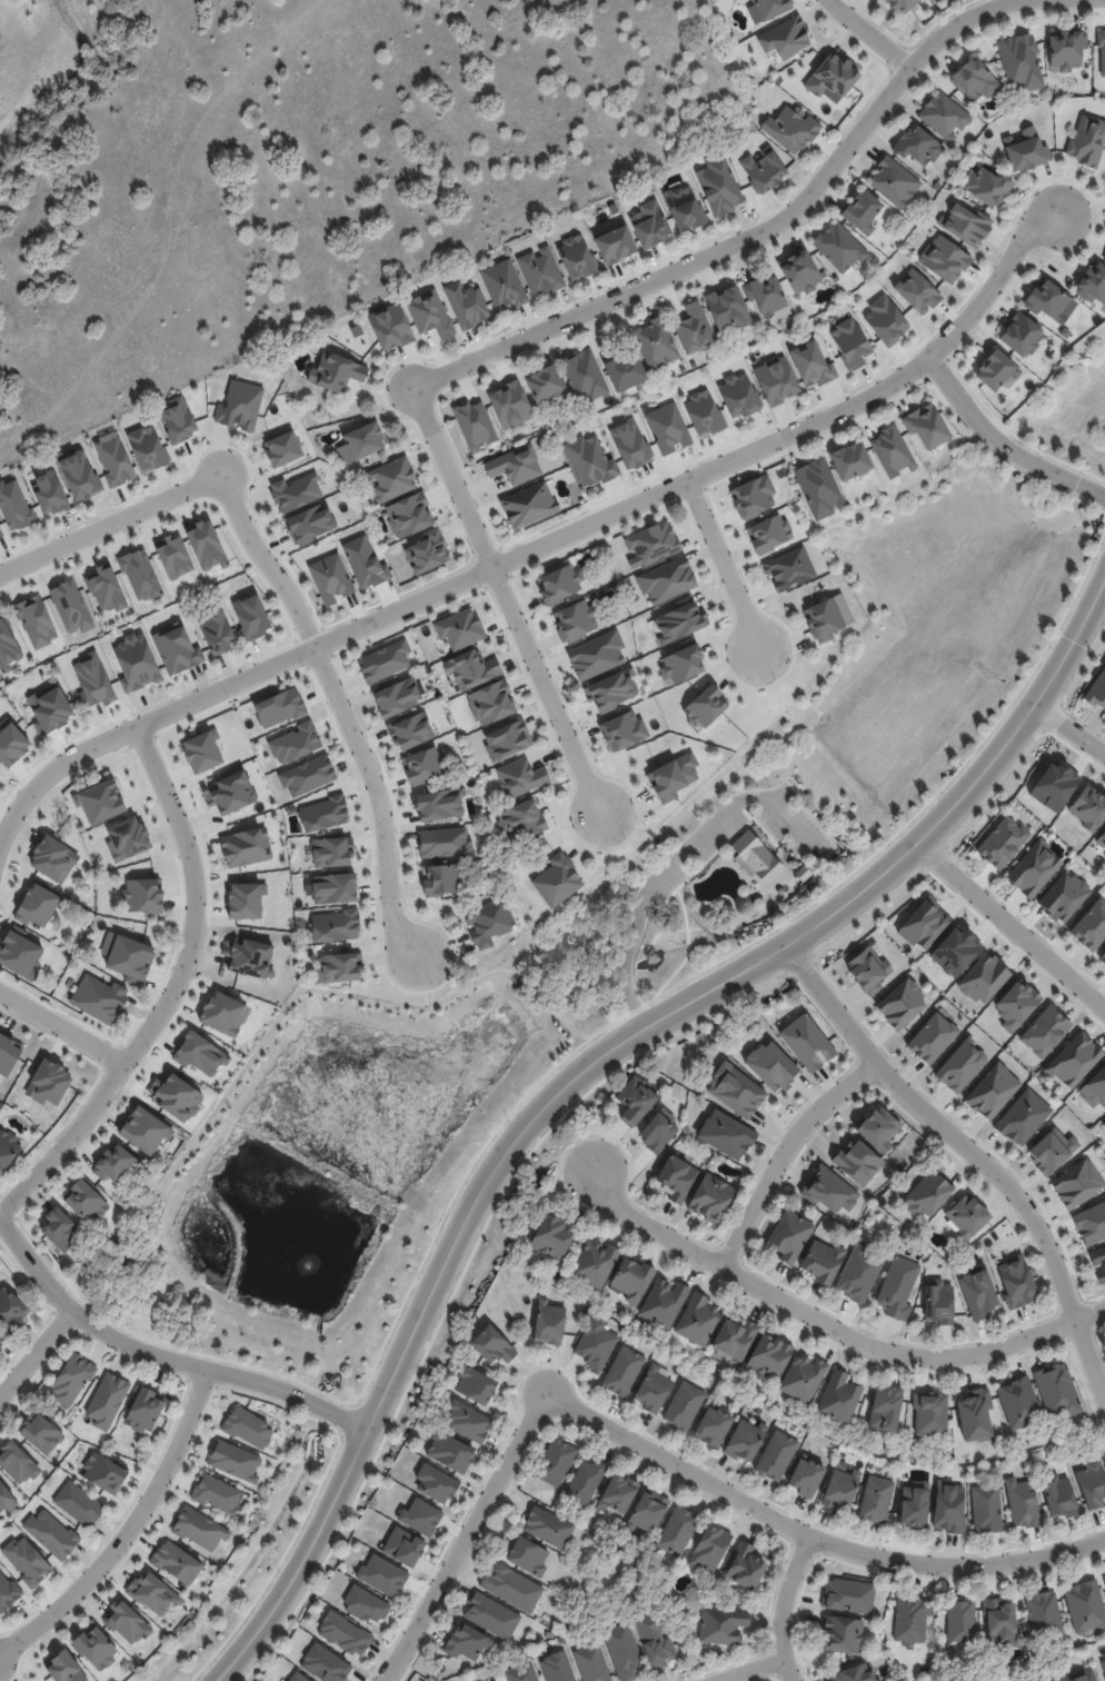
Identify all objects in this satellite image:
building: (905, 4)
building: (774, 8)
road: (868, 33)
building: (787, 38)
building: (1103, 49)
building: (1072, 50)
building: (1024, 62)
building: (835, 77)
building: (977, 79)
building: (779, 80)
building: (1068, 89)
building: (946, 116)
building: (793, 129)
building: (1088, 141)
building: (920, 146)
building: (1027, 150)
building: (696, 163)
building: (767, 171)
building: (897, 183)
building: (989, 186)
building: (721, 187)
building: (625, 205)
building: (687, 209)
building: (864, 212)
building: (966, 225)
building: (651, 226)
building: (615, 245)
building: (843, 248)
building: (577, 255)
building: (943, 259)
building: (1104, 259)
building: (542, 270)
building: (803, 273)
road: (658, 276)
building: (505, 284)
building: (1094, 286)
building: (916, 291)
building: (769, 296)
building: (1049, 299)
building: (468, 304)
building: (726, 309)
building: (429, 314)
building: (885, 320)
building: (761, 325)
building: (389, 327)
building: (693, 327)
building: (1024, 335)
building: (657, 342)
building: (855, 345)
building: (812, 364)
building: (684, 368)
building: (627, 370)
building: (338, 371)
building: (1001, 371)
building: (586, 375)
building: (775, 379)
building: (548, 386)
building: (738, 395)
building: (242, 405)
building: (509, 405)
building: (703, 412)
building: (178, 420)
building: (474, 425)
building: (926, 426)
building: (667, 428)
building: (360, 442)
road: (1002, 442)
building: (629, 444)
building: (147, 448)
building: (281, 449)
building: (896, 450)
building: (113, 459)
building: (853, 459)
building: (589, 460)
building: (515, 465)
building: (79, 476)
building: (390, 479)
road: (201, 483)
building: (822, 487)
building: (295, 493)
building: (49, 494)
building: (753, 496)
building: (528, 505)
building: (14, 506)
building: (408, 515)
building: (309, 524)
building: (768, 534)
building: (0, 535)
road: (542, 543)
building: (650, 544)
building: (205, 545)
building: (426, 551)
building: (173, 556)
road: (723, 567)
building: (794, 567)
building: (140, 575)
building: (329, 578)
building: (379, 579)
building: (666, 580)
building: (559, 584)
building: (106, 589)
building: (71, 606)
building: (833, 616)
building: (250, 617)
building: (411, 619)
building: (36, 620)
building: (574, 620)
building: (679, 623)
building: (459, 628)
building: (216, 633)
building: (8, 647)
building: (176, 648)
building: (596, 654)
building: (384, 660)
building: (136, 663)
building: (681, 663)
building: (470, 669)
building: (93, 680)
building: (1097, 689)
road: (544, 690)
building: (611, 690)
building: (396, 697)
building: (490, 703)
building: (708, 706)
building: (278, 707)
building: (49, 708)
road: (1067, 729)
building: (410, 730)
building: (623, 730)
building: (506, 739)
building: (295, 743)
building: (12, 744)
building: (202, 752)
building: (421, 766)
building: (307, 776)
building: (675, 776)
building: (519, 777)
building: (229, 793)
road: (374, 797)
building: (100, 802)
building: (437, 805)
building: (1088, 808)
building: (322, 814)
building: (520, 819)
building: (127, 838)
building: (1101, 838)
building: (1002, 842)
building: (444, 843)
building: (243, 847)
building: (331, 852)
building: (52, 858)
building: (759, 858)
road: (675, 863)
building: (1034, 868)
building: (805, 873)
building: (442, 879)
building: (559, 879)
building: (334, 888)
building: (141, 895)
building: (1064, 896)
building: (245, 899)
building: (37, 905)
building: (491, 922)
road: (1011, 923)
building: (924, 924)
building: (335, 925)
building: (1091, 925)
building: (19, 954)
building: (127, 955)
building: (247, 956)
building: (1102, 957)
building: (338, 967)
building: (867, 969)
building: (983, 978)
road: (172, 991)
building: (99, 997)
building: (900, 1004)
building: (1015, 1004)
building: (222, 1014)
road: (60, 1028)
building: (1044, 1031)
building: (932, 1037)
building: (806, 1042)
building: (8, 1054)
building: (199, 1054)
building: (1073, 1060)
road: (589, 1064)
building: (770, 1065)
building: (960, 1065)
building: (48, 1083)
building: (1094, 1088)
building: (735, 1091)
building: (992, 1091)
building: (175, 1096)
building: (639, 1097)
building: (1022, 1117)
building: (1103, 1123)
building: (878, 1128)
building: (145, 1131)
building: (658, 1131)
building: (726, 1134)
building: (1051, 1150)
building: (8, 1151)
road: (782, 1151)
road: (970, 1155)
building: (856, 1162)
building: (113, 1163)
building: (678, 1177)
building: (1076, 1183)
building: (828, 1191)
building: (927, 1193)
building: (714, 1196)
building: (87, 1203)
building: (1078, 1211)
building: (965, 1216)
building: (62, 1231)
building: (556, 1235)
building: (790, 1236)
building: (49, 1261)
building: (596, 1263)
building: (823, 1263)
building: (1097, 1263)
building: (858, 1273)
building: (635, 1277)
building: (1021, 1281)
building: (899, 1287)
building: (977, 1293)
building: (938, 1301)
building: (666, 1302)
building: (12, 1307)
building: (699, 1320)
building: (550, 1321)
road: (829, 1324)
building: (737, 1337)
building: (1, 1339)
building: (594, 1344)
building: (494, 1345)
road: (36, 1353)
road: (163, 1355)
building: (771, 1356)
building: (625, 1371)
building: (805, 1377)
building: (71, 1379)
building: (478, 1384)
building: (1059, 1390)
building: (655, 1391)
building: (842, 1396)
building: (107, 1400)
building: (1017, 1402)
building: (687, 1404)
building: (147, 1408)
building: (884, 1408)
building: (929, 1413)
building: (974, 1414)
building: (469, 1421)
building: (717, 1424)
building: (248, 1428)
building: (40, 1434)
building: (747, 1440)
building: (451, 1452)
building: (778, 1456)
building: (233, 1461)
building: (557, 1461)
building: (17, 1463)
building: (106, 1471)
building: (890, 1474)
building: (808, 1476)
building: (438, 1482)
building: (588, 1482)
building: (1092, 1483)
building: (843, 1489)
building: (216, 1493)
building: (621, 1494)
building: (1058, 1496)
building: (6, 1499)
building: (877, 1499)
building: (1021, 1502)
building: (80, 1503)
building: (914, 1503)
building: (950, 1505)
building: (985, 1508)
building: (649, 1511)
building: (420, 1516)
building: (550, 1526)
building: (199, 1529)
road: (129, 1530)
building: (678, 1531)
building: (52, 1533)
road: (812, 1536)
road: (467, 1538)
building: (402, 1546)
building: (711, 1548)
building: (529, 1556)
building: (27, 1561)
building: (176, 1562)
building: (747, 1566)
building: (382, 1574)
building: (1104, 1576)
building: (514, 1586)
building: (8, 1592)
building: (152, 1593)
building: (852, 1595)
building: (365, 1604)
building: (1084, 1605)
road: (784, 1607)
building: (494, 1615)
building: (912, 1617)
building: (1046, 1618)
building: (1002, 1621)
building: (126, 1622)
building: (962, 1622)
building: (725, 1624)
building: (347, 1632)
building: (846, 1633)
building: (658, 1638)
building: (465, 1642)
building: (97, 1648)
building: (626, 1650)
building: (327, 1663)
building: (595, 1663)
building: (1103, 1665)
building: (67, 1668)
building: (559, 1668)
road: (751, 1669)
building: (525, 1673)
building: (856, 1673)
building: (1079, 1675)
building: (299, 1677)
building: (1046, 1680)
building: (1055, 1680)
building: (1057, 1680)

